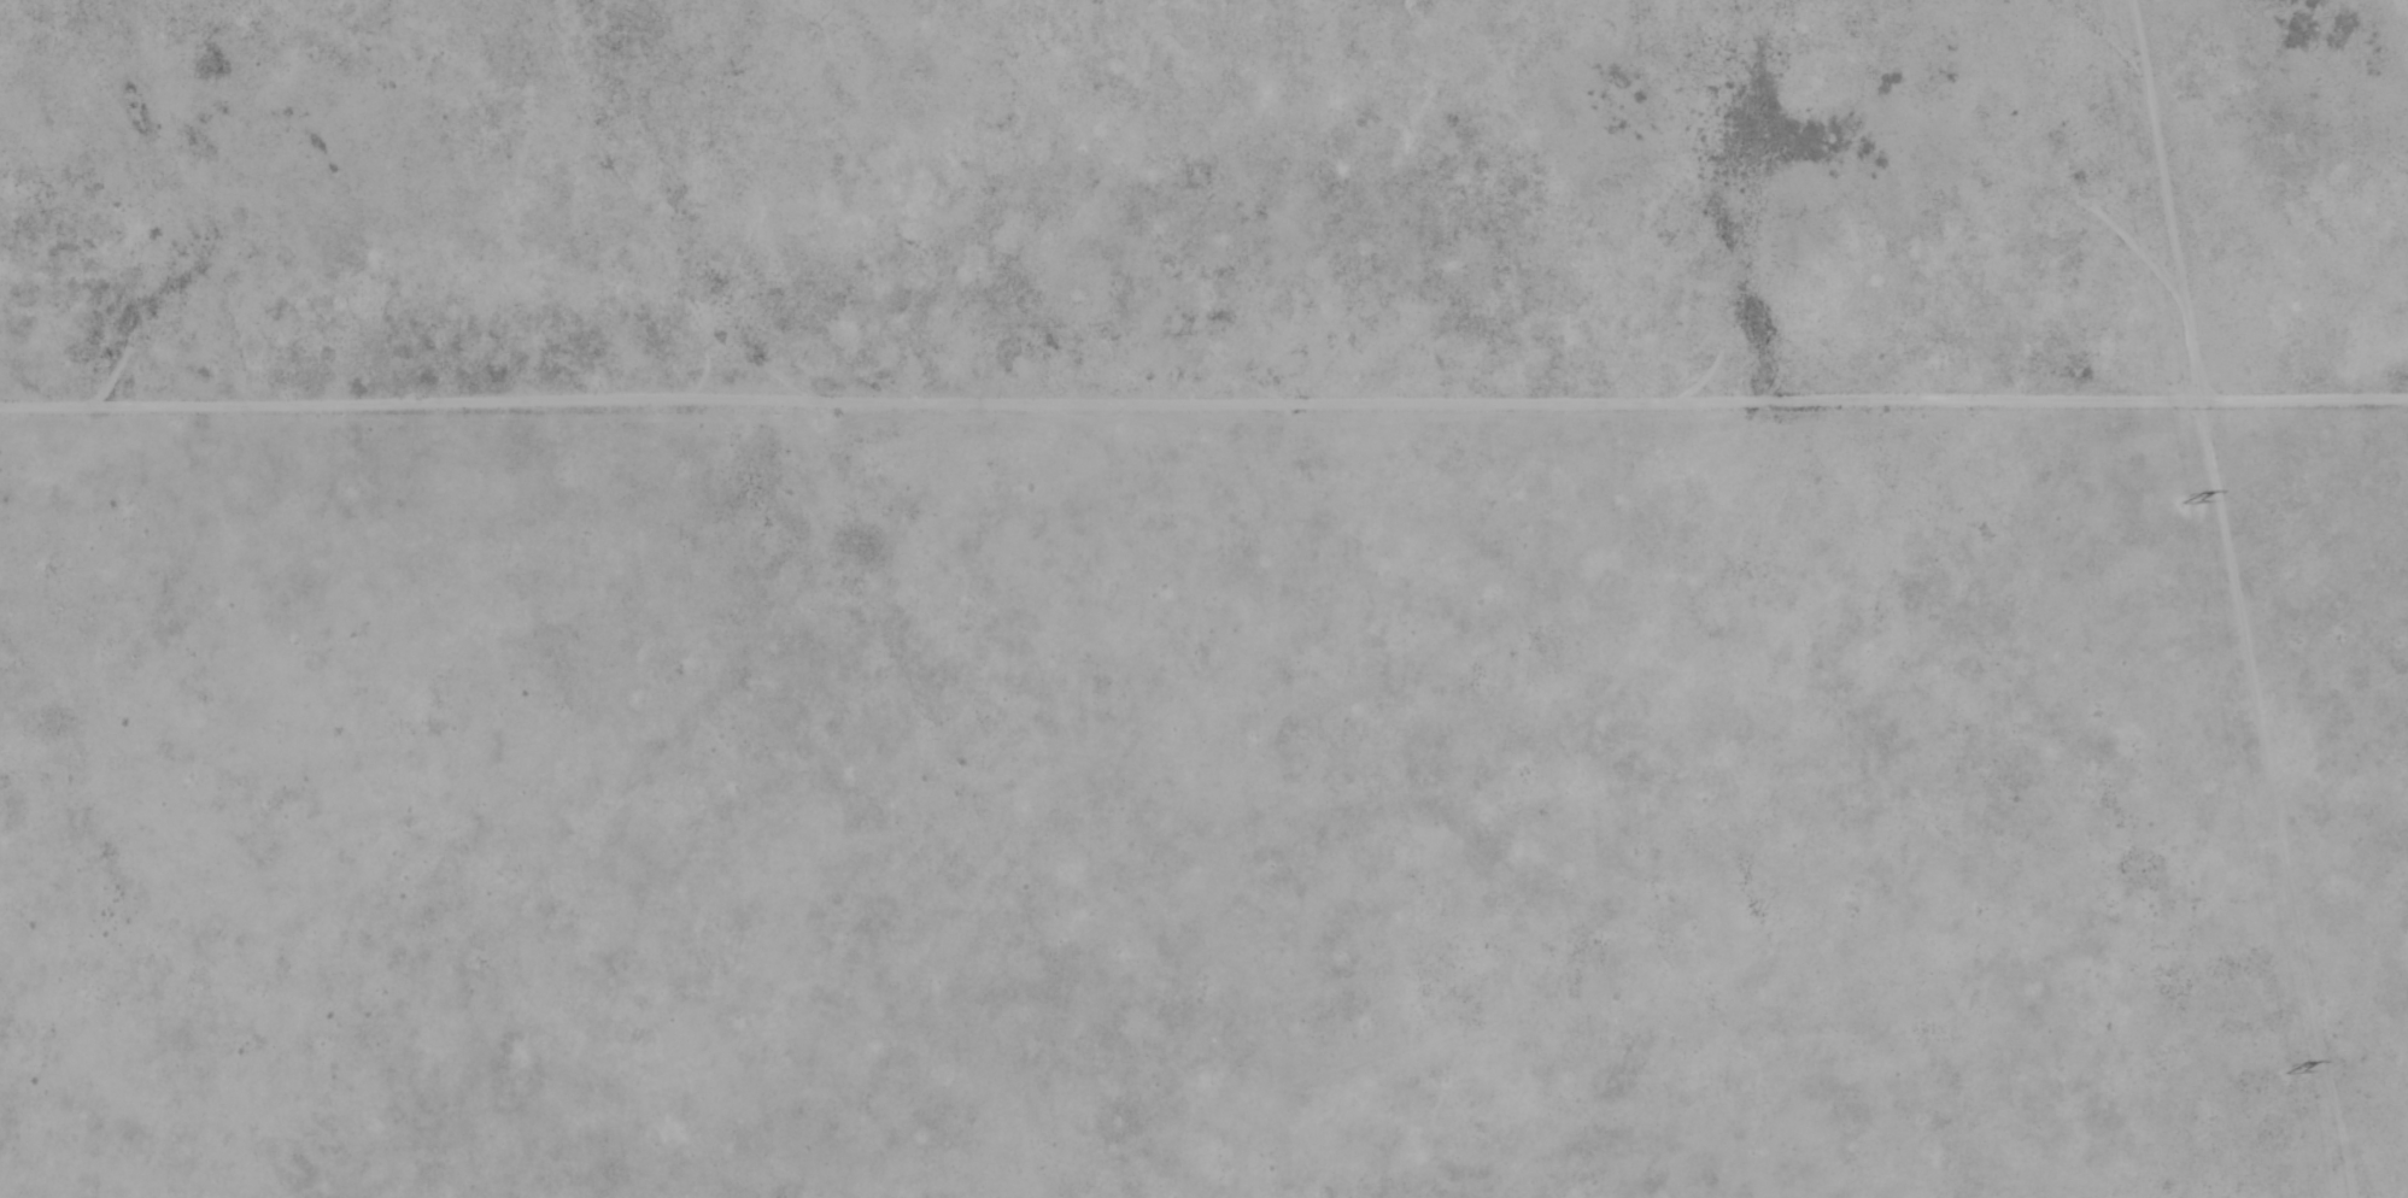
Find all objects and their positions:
road: (2332, 383)
power tower: (2193, 503)
power tower: (2297, 1070)

